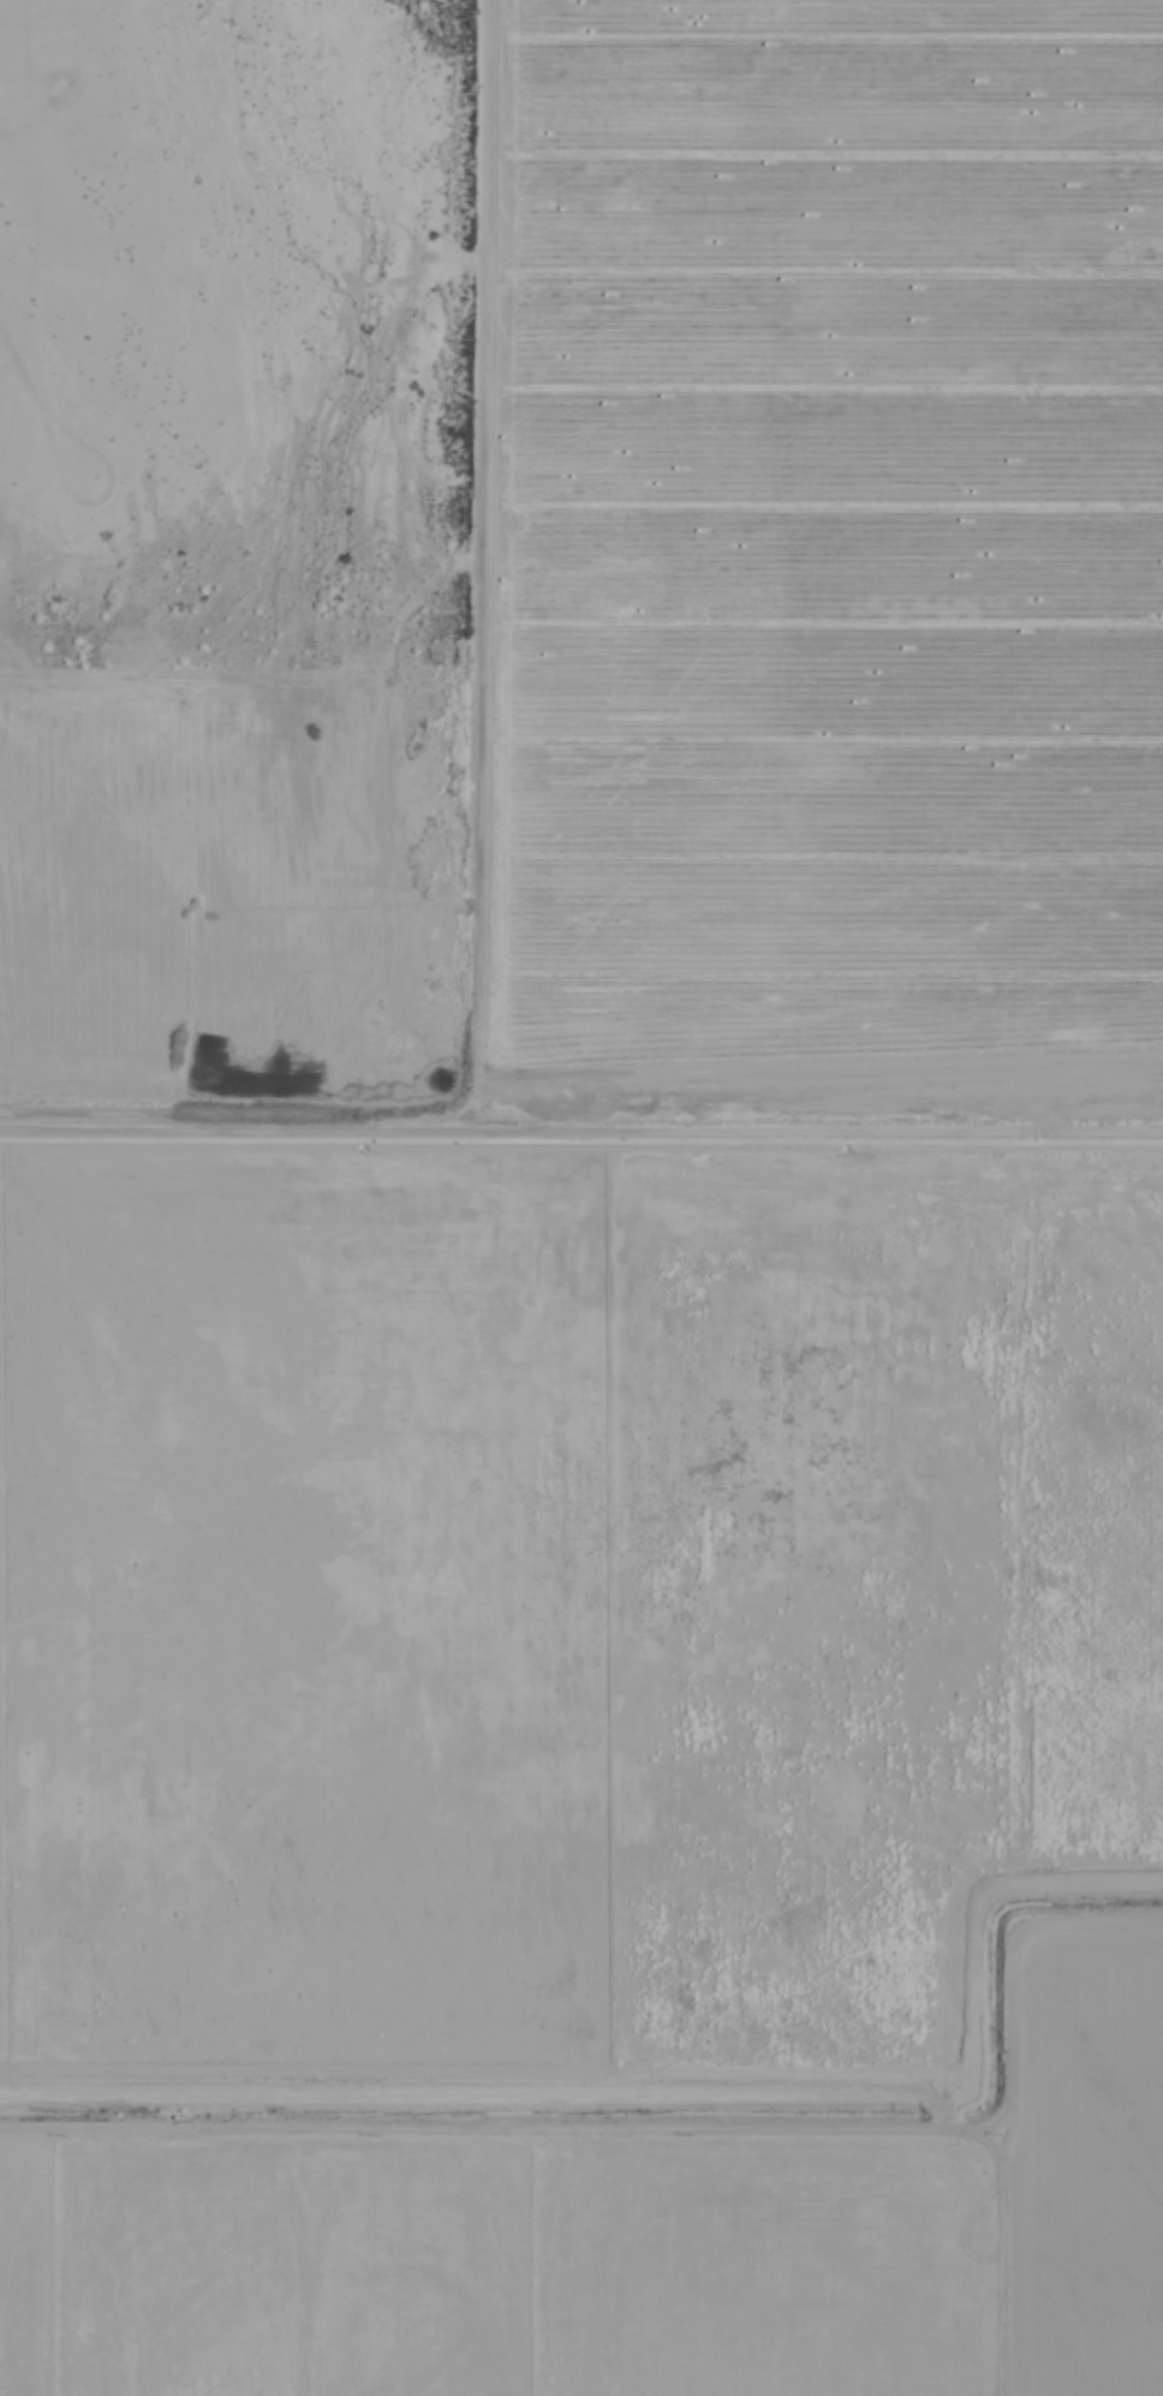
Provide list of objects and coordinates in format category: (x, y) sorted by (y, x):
crop: (661, 1343)

